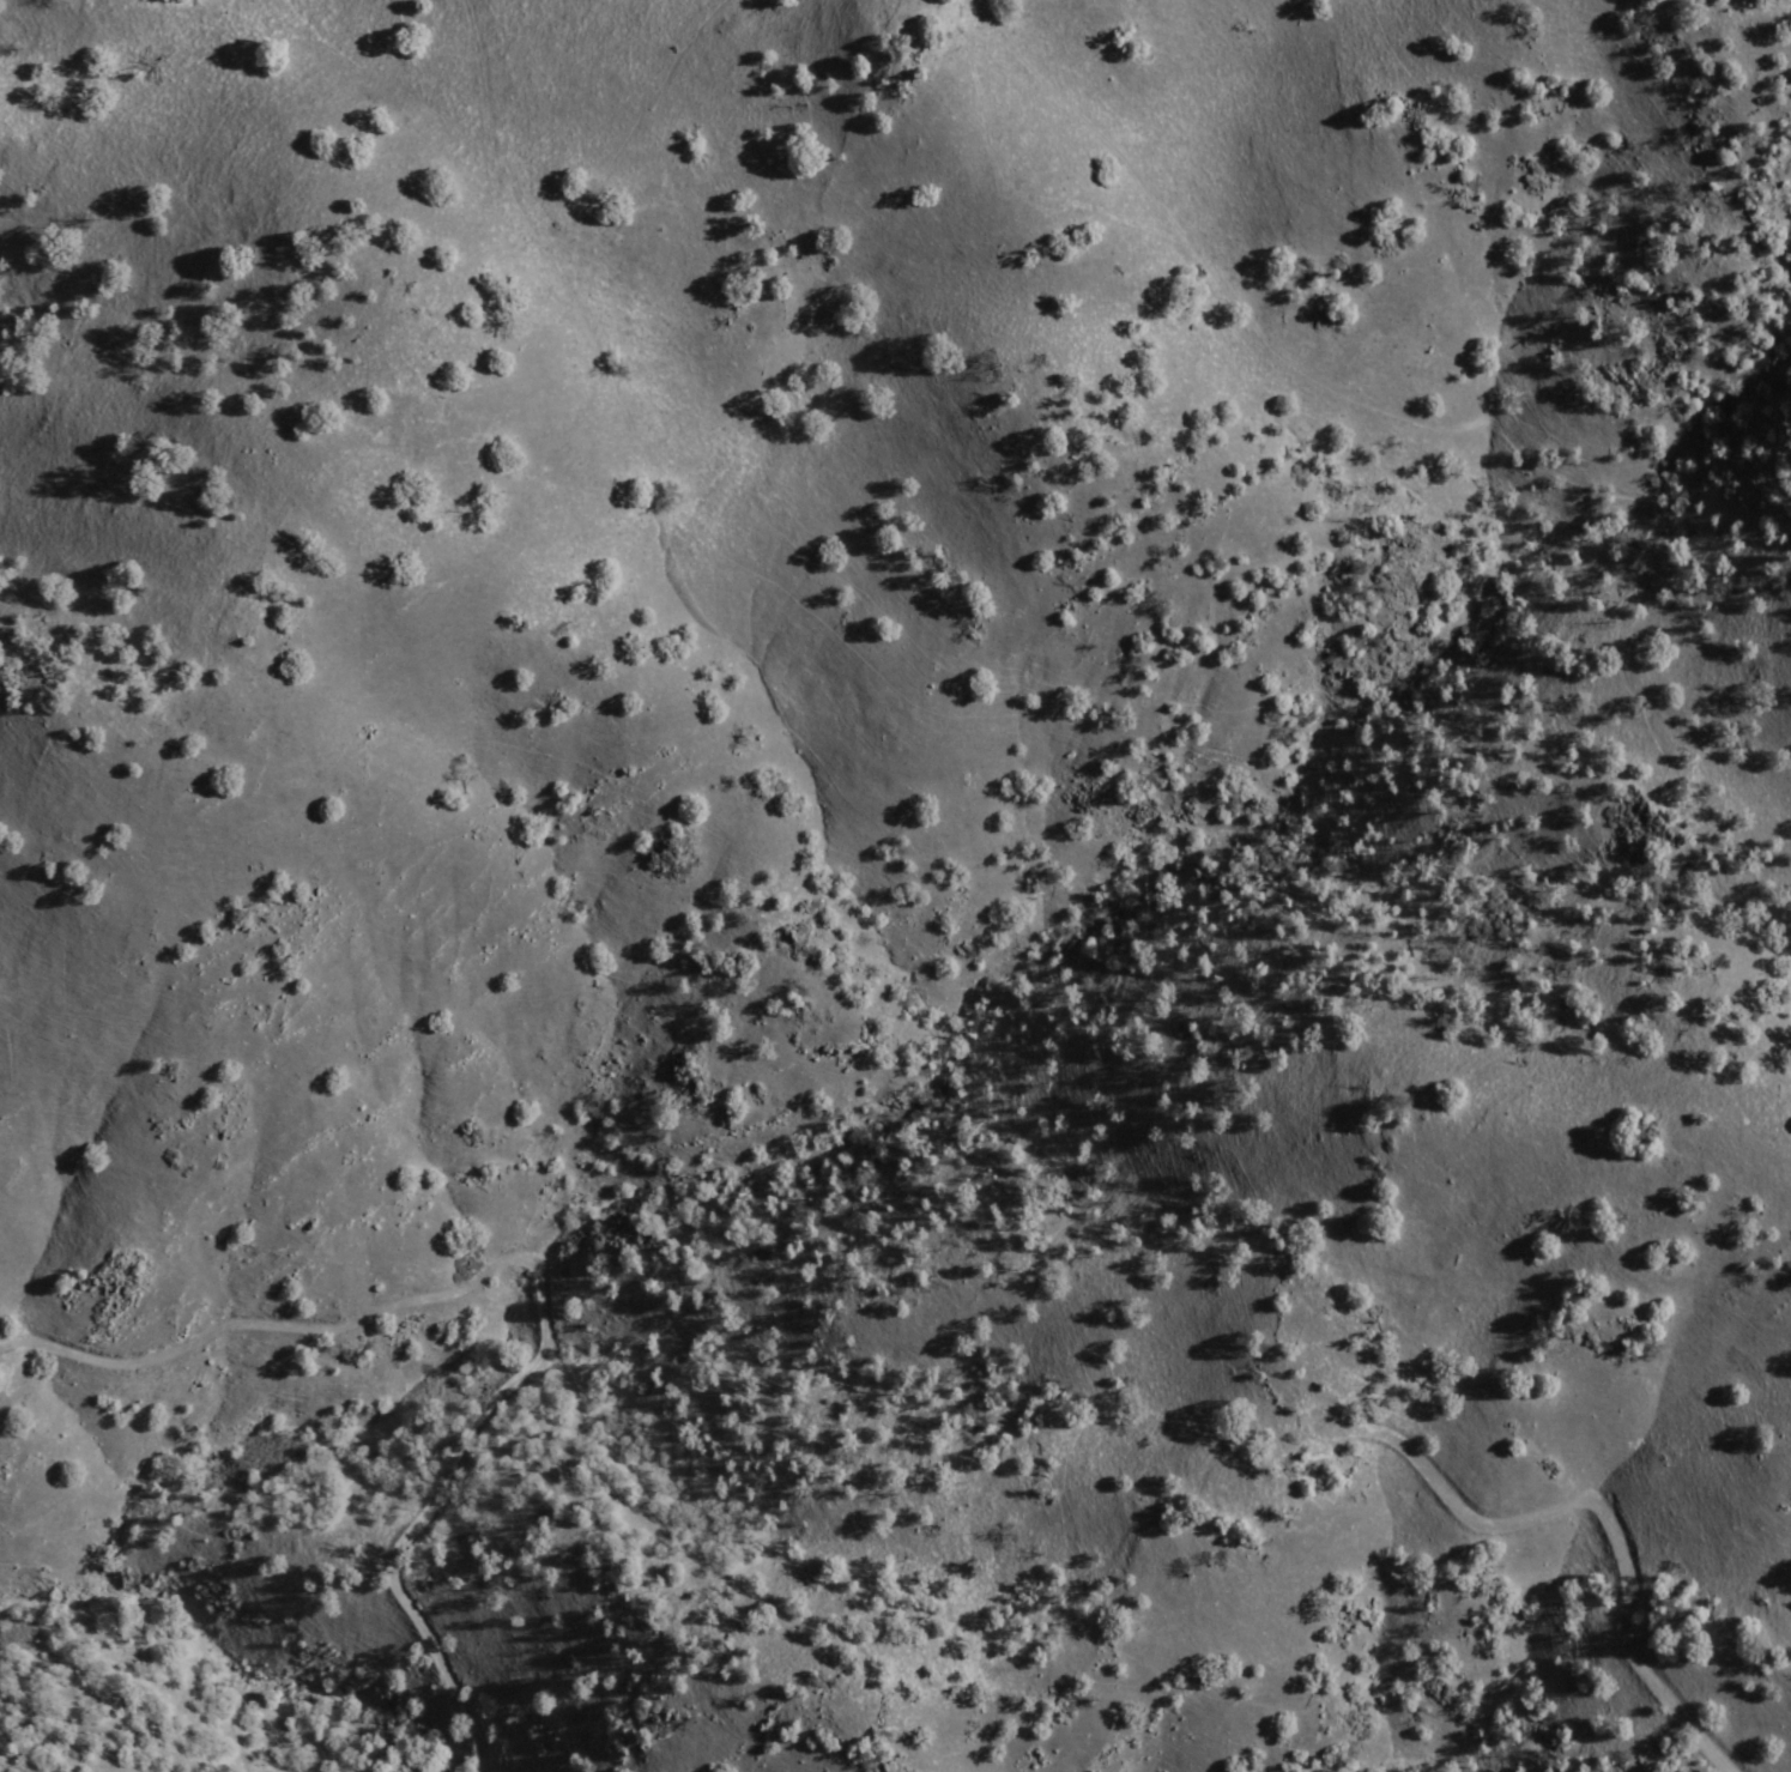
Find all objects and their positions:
road: (446, 1477)

